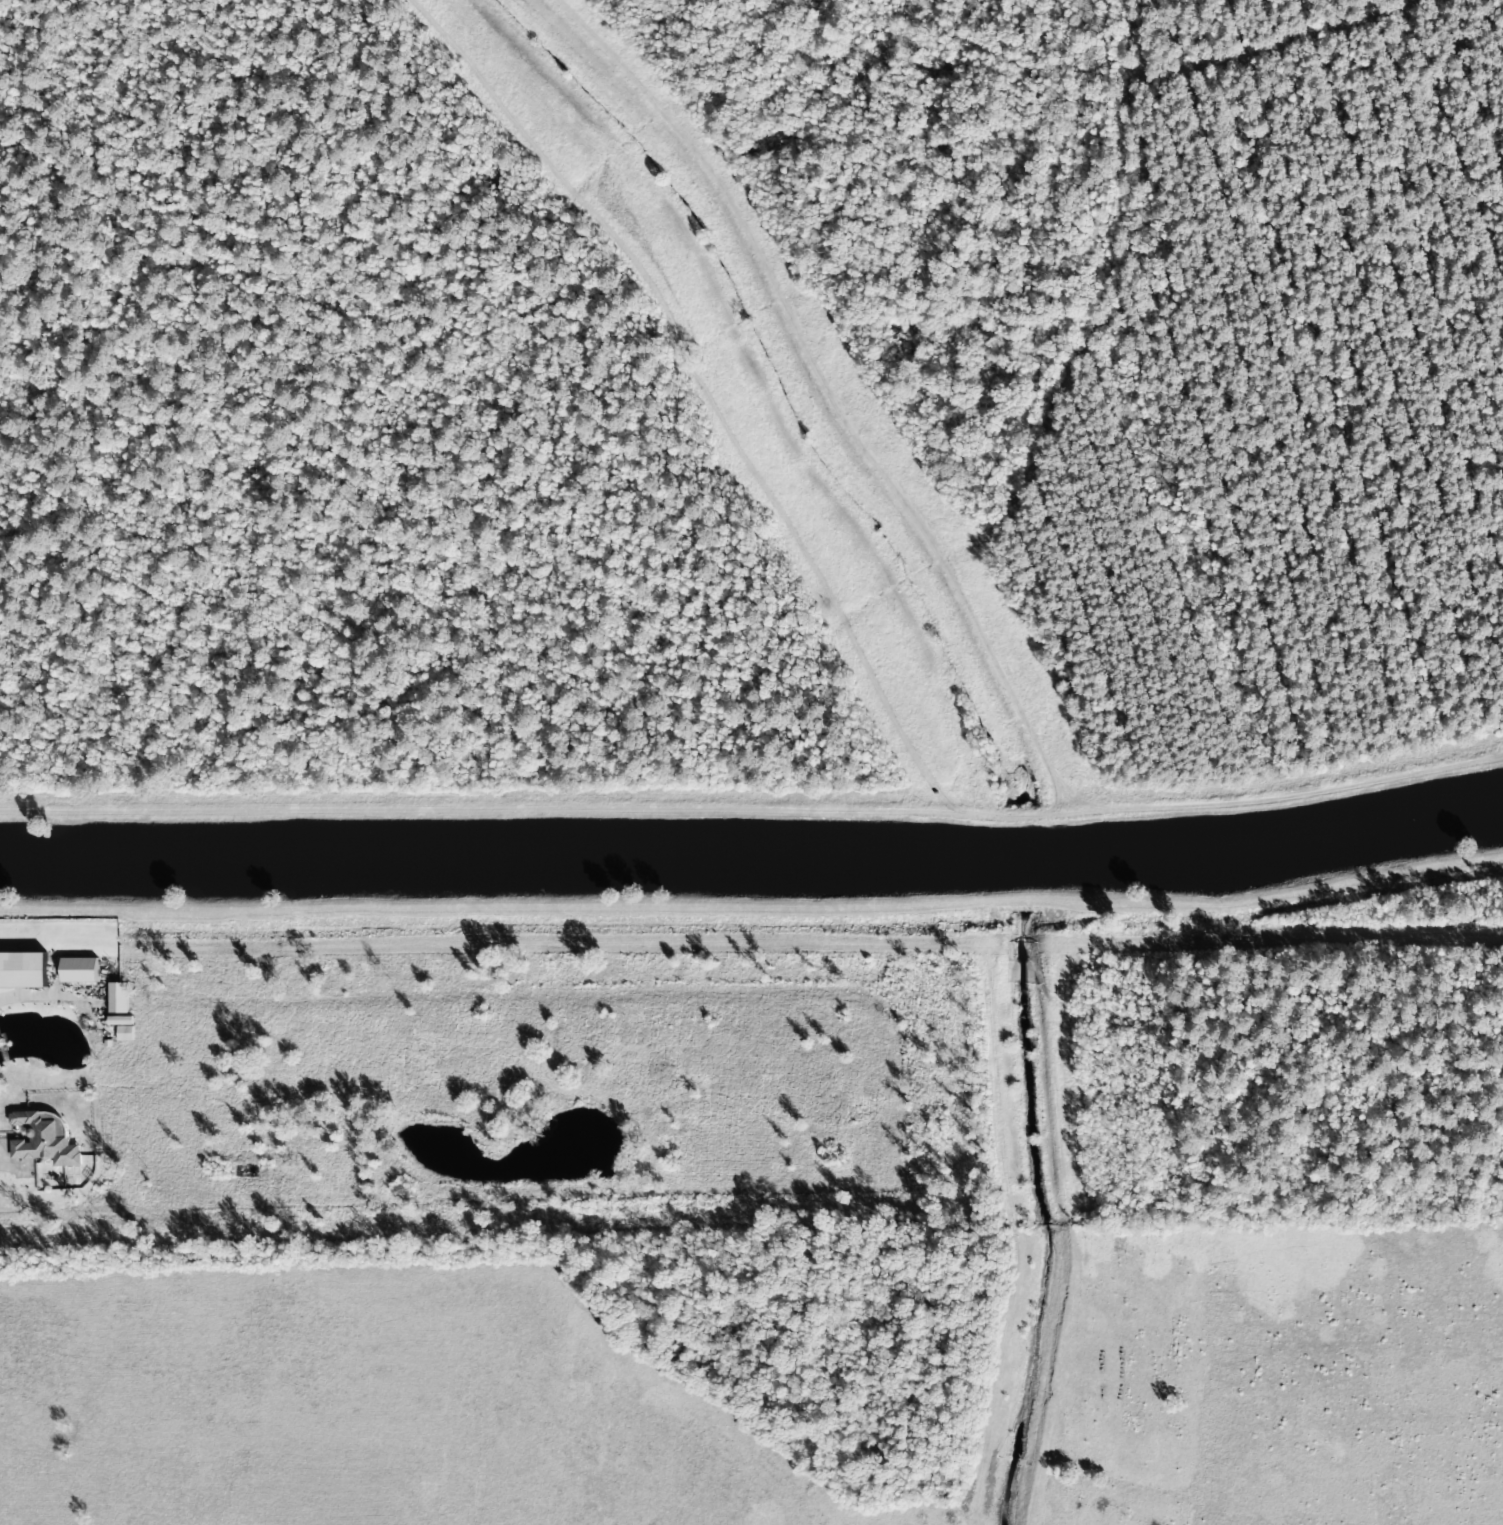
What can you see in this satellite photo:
building: (23, 970)
building: (80, 970)
road: (49, 996)
building: (120, 1011)
building: (45, 1139)

